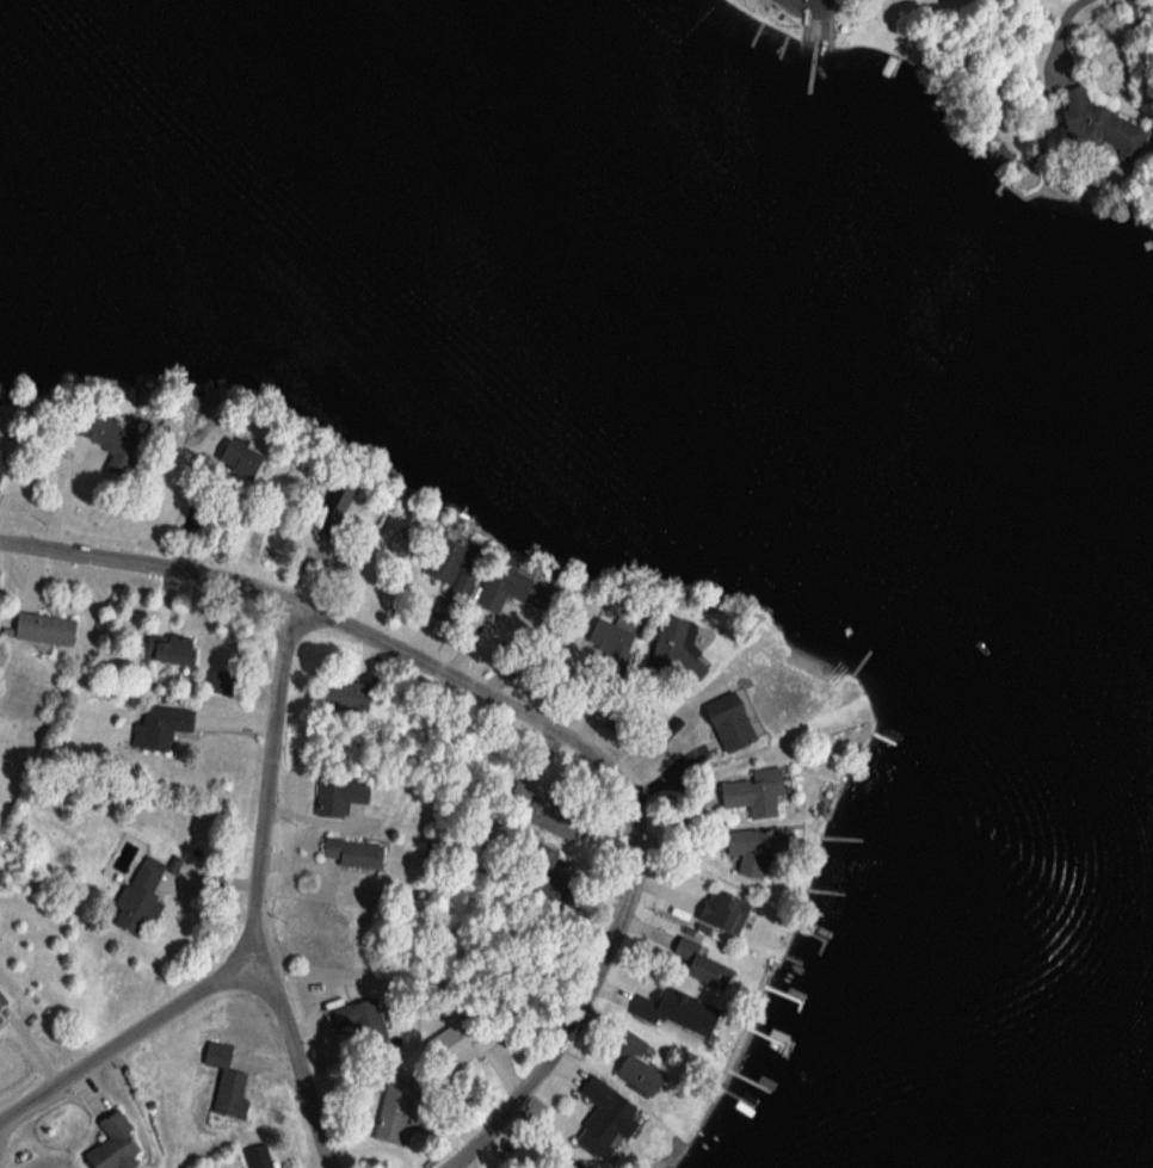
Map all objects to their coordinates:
road: (808, 2)
road: (1054, 36)
building: (1098, 128)
building: (109, 446)
building: (228, 461)
building: (442, 564)
building: (494, 586)
building: (39, 631)
building: (605, 644)
building: (162, 650)
building: (210, 682)
building: (335, 696)
road: (529, 716)
building: (721, 723)
building: (155, 728)
road: (265, 777)
building: (747, 790)
building: (334, 796)
building: (543, 814)
building: (741, 851)
building: (347, 854)
building: (538, 870)
building: (136, 896)
building: (717, 914)
building: (696, 965)
building: (0, 1001)
building: (666, 1011)
building: (346, 1015)
road: (122, 1037)
building: (455, 1043)
building: (628, 1057)
road: (297, 1058)
building: (223, 1082)
building: (396, 1116)
building: (602, 1117)
building: (109, 1144)
building: (254, 1156)

